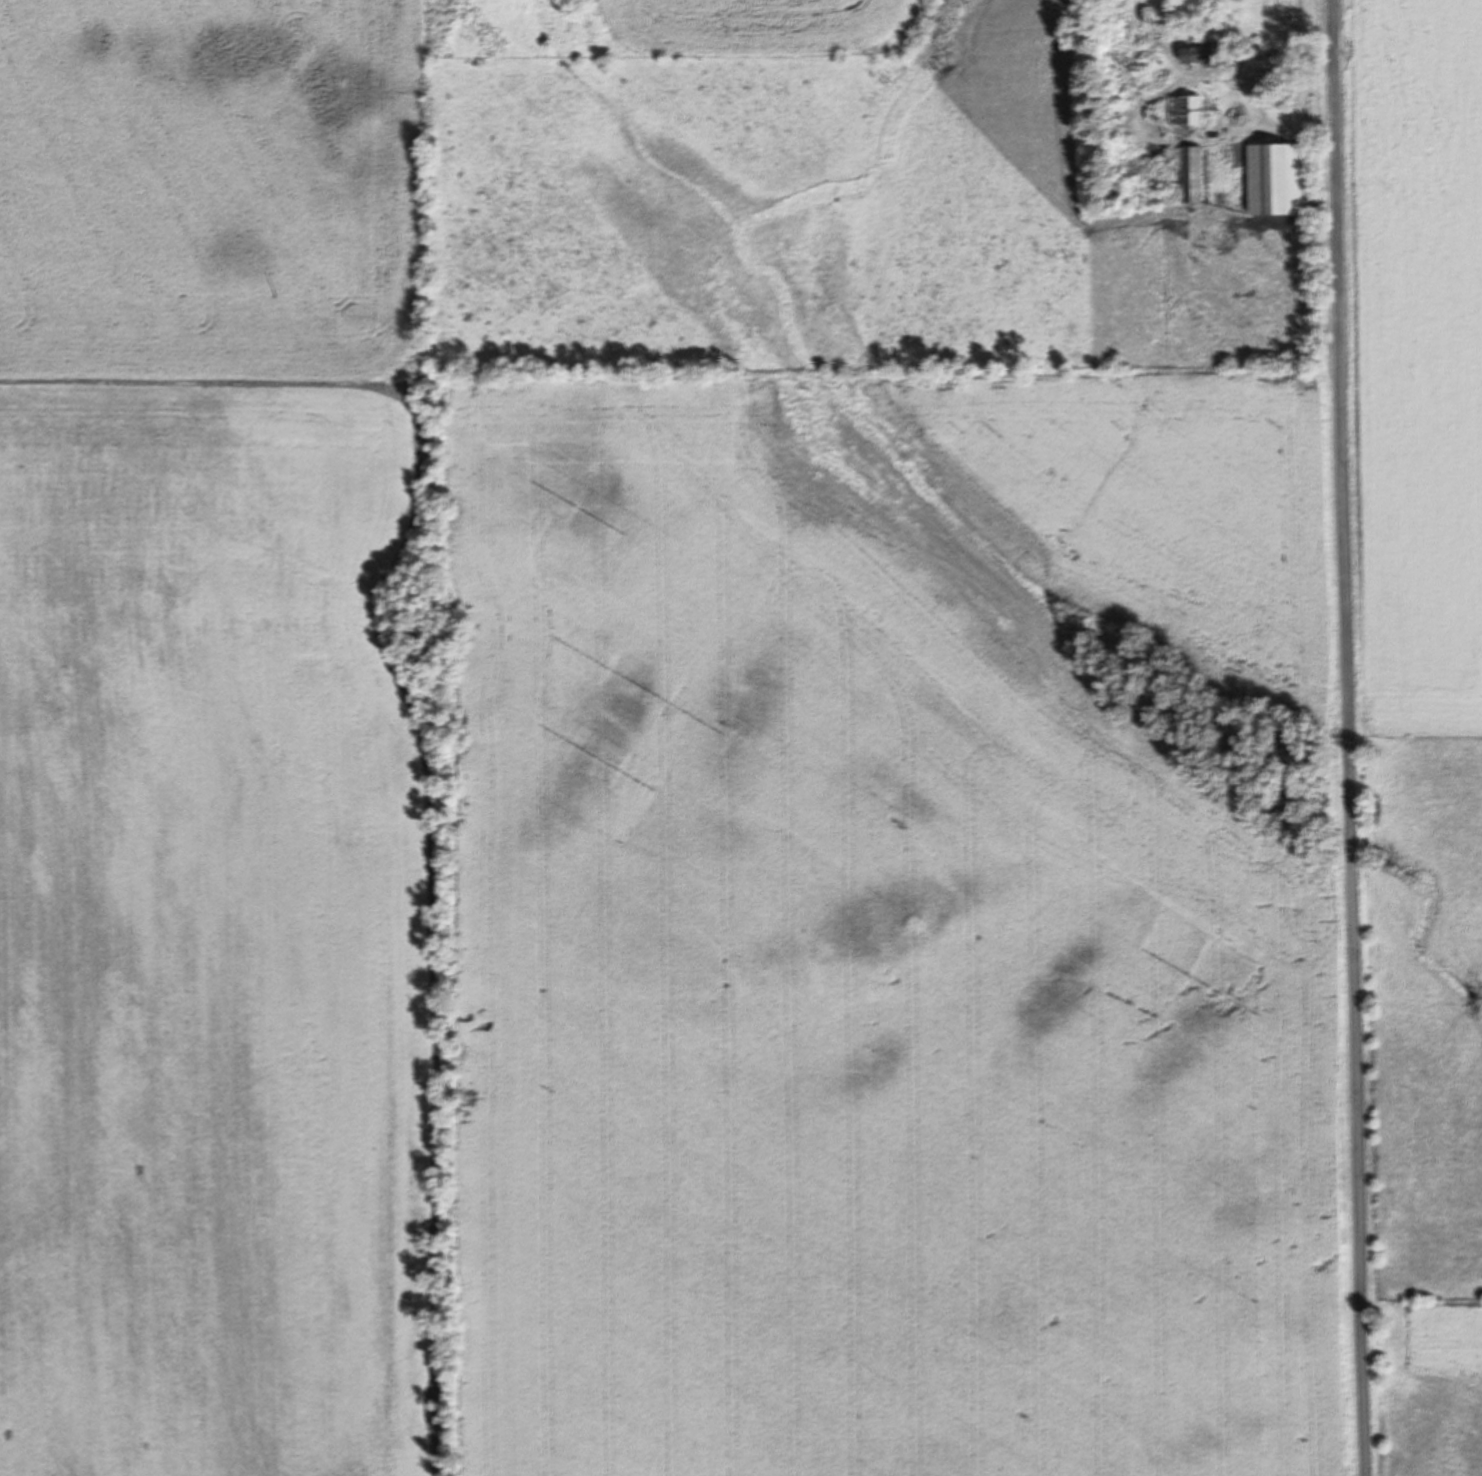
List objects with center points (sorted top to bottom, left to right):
road: (1350, 737)

